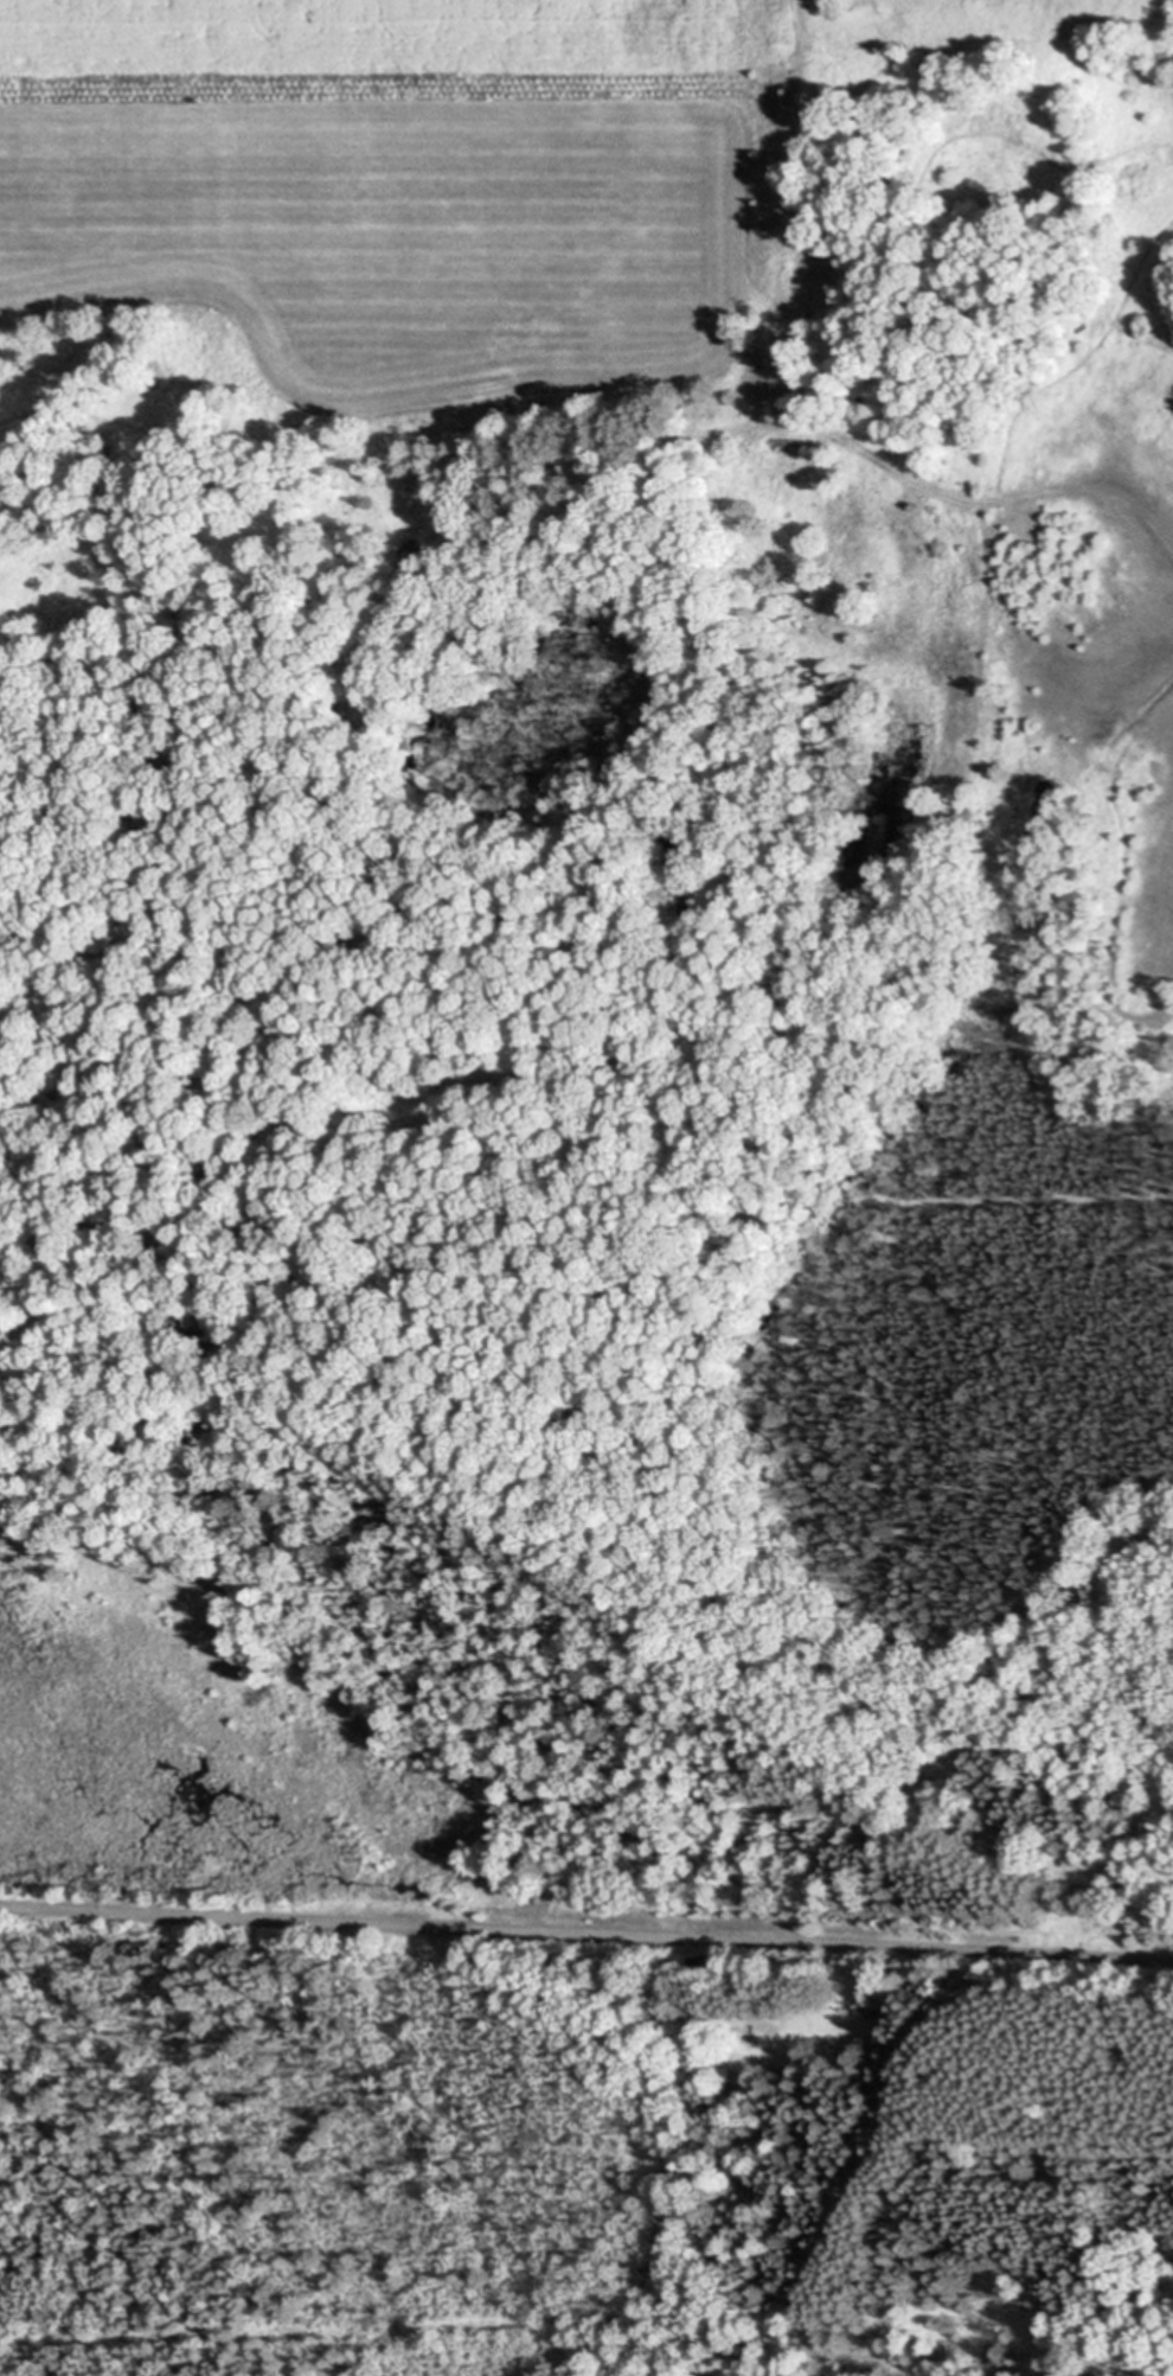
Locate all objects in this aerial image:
road: (586, 1934)

